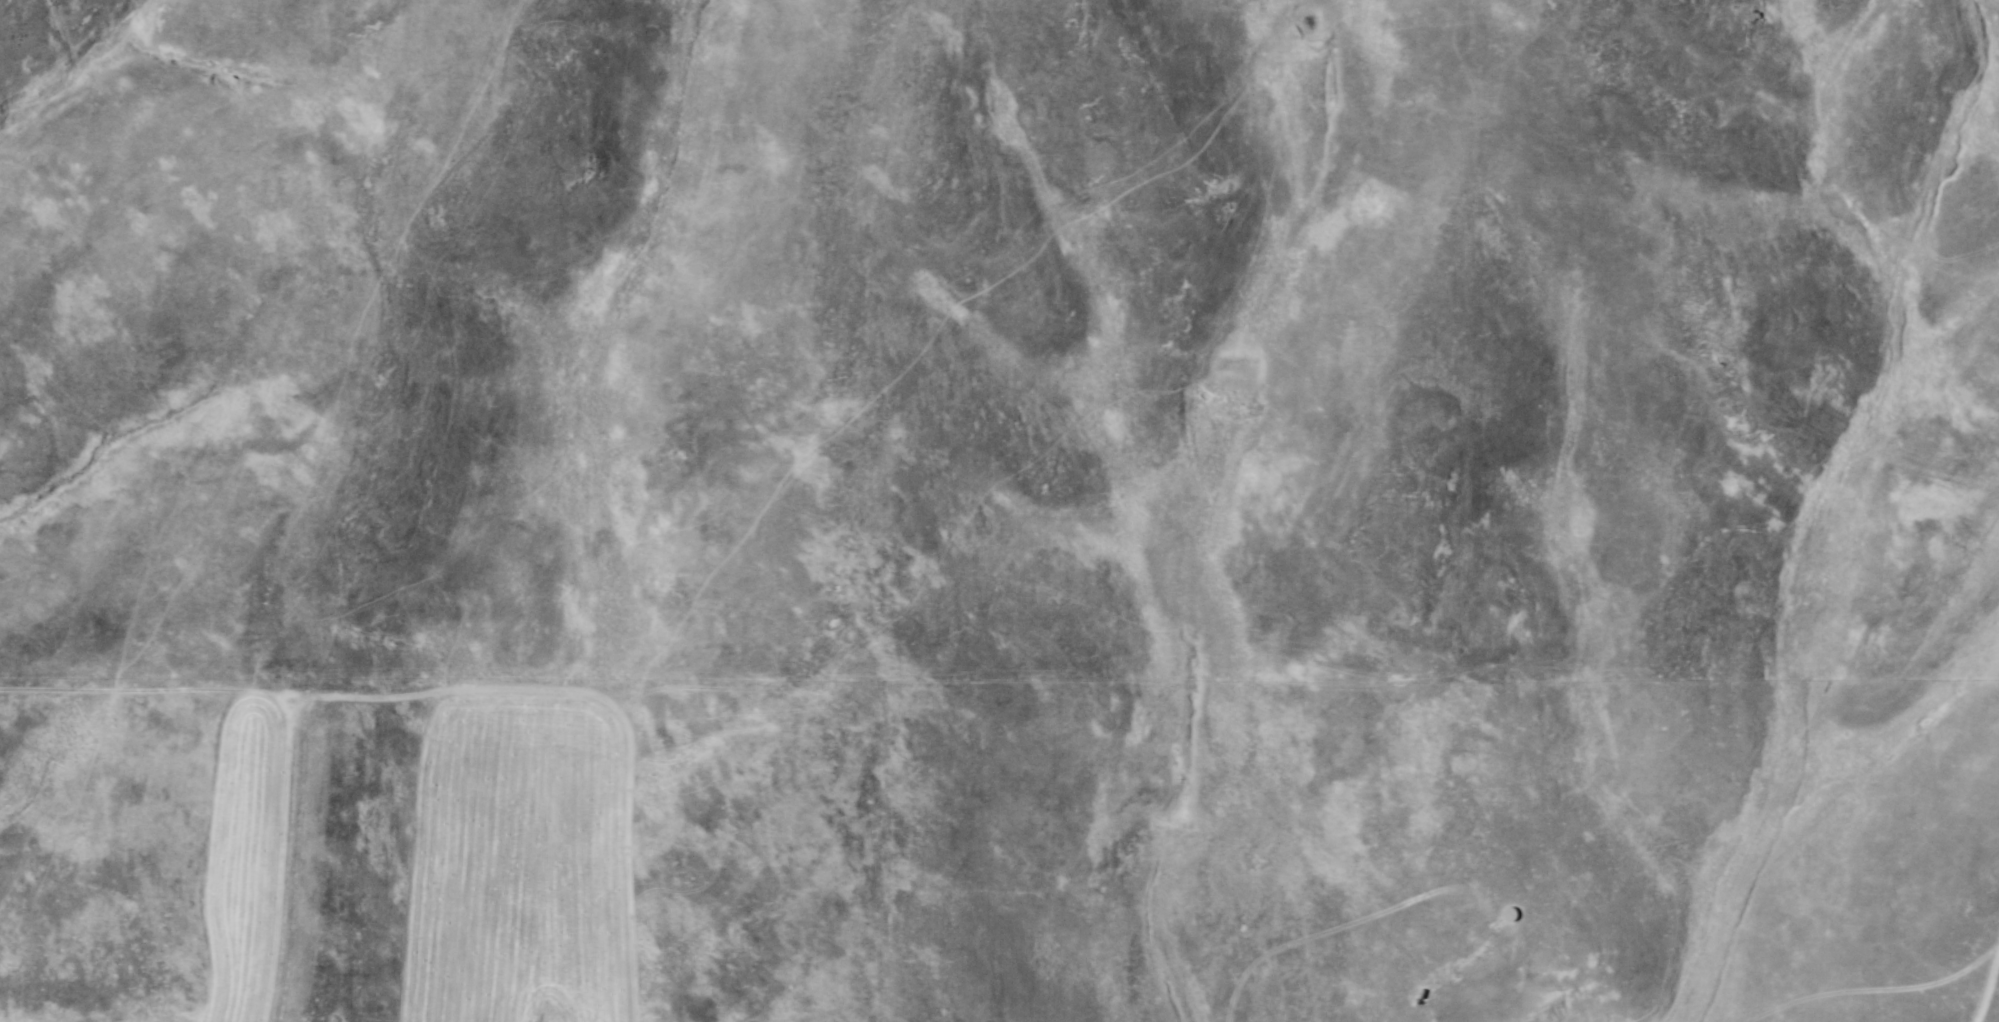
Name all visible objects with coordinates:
road: (1508, 705)
road: (1853, 846)
building: (1512, 915)
road: (1985, 994)

